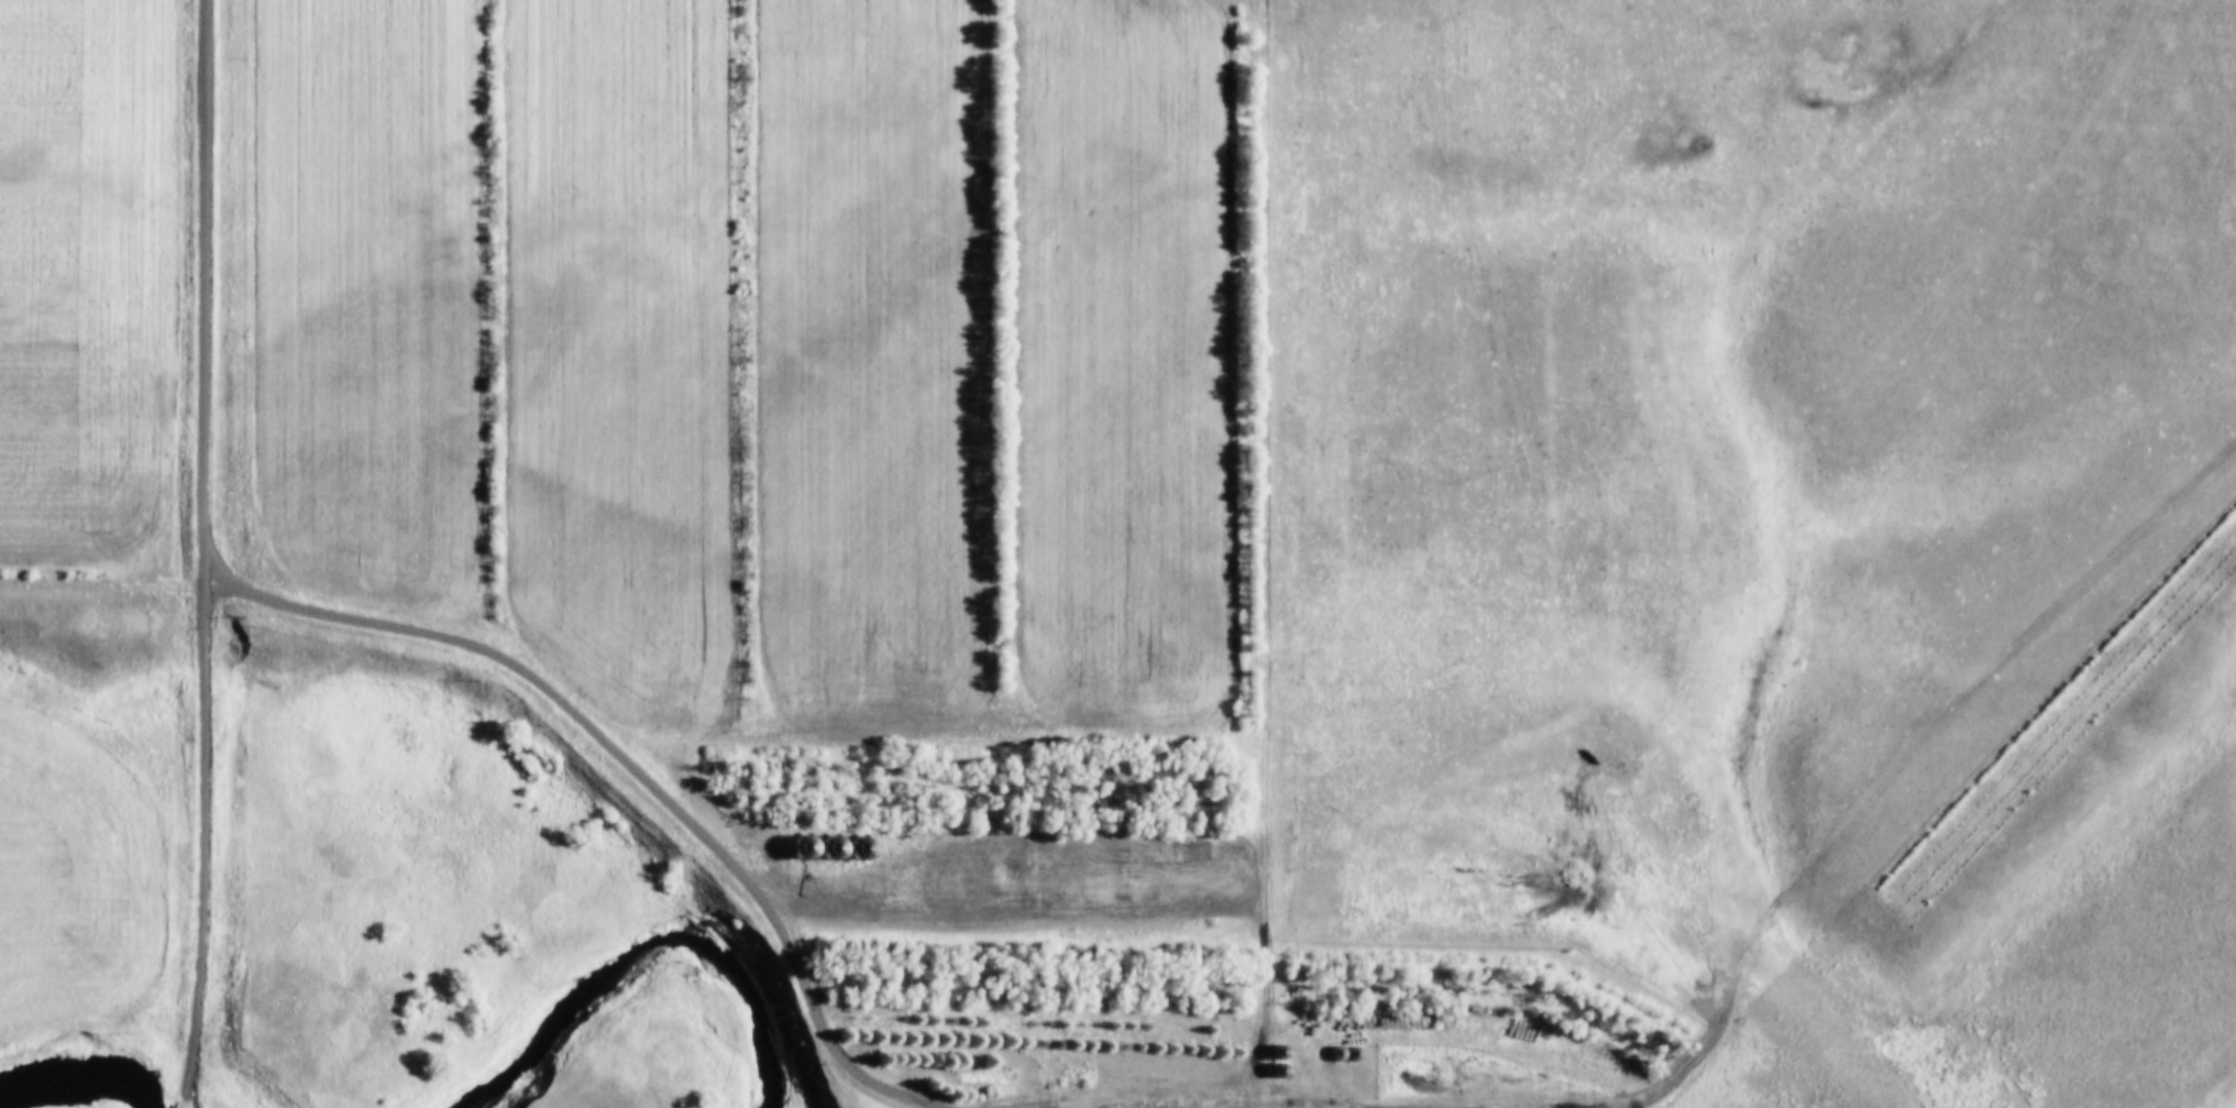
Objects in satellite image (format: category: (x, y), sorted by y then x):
road: (199, 552)
road: (1263, 556)
road: (1890, 746)
road: (618, 757)
building: (1324, 1052)
building: (965, 1075)
road: (1226, 1106)
road: (181, 1107)

